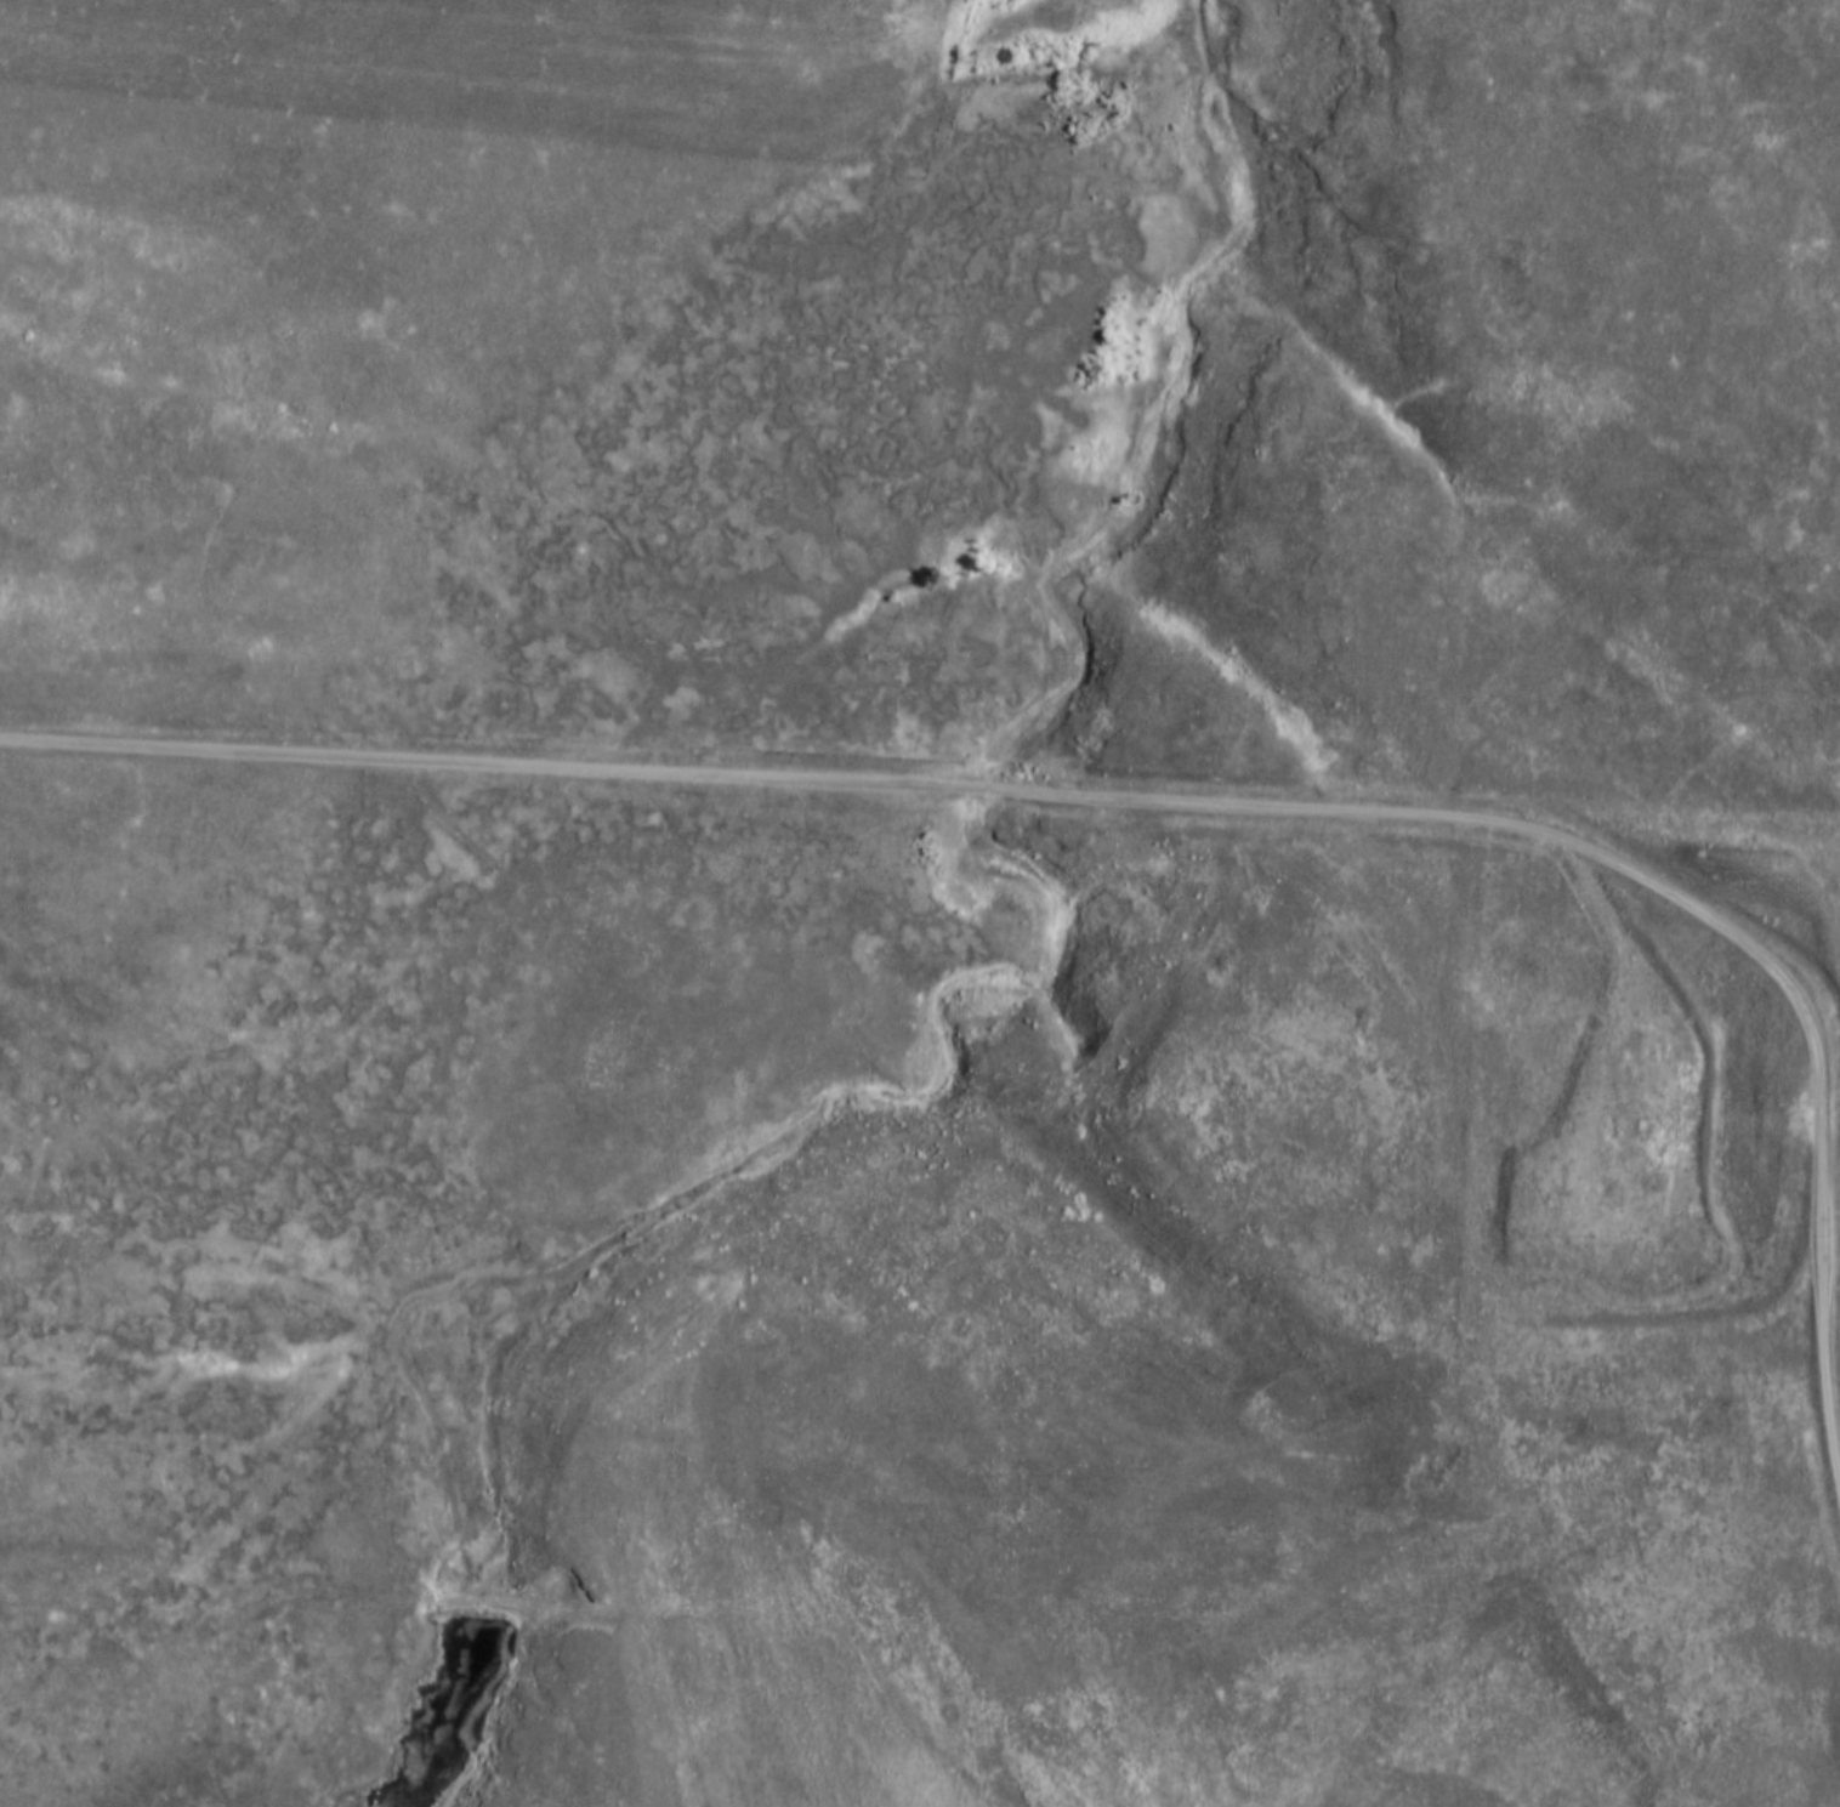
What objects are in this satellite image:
road: (1189, 789)
road: (309, 1586)

